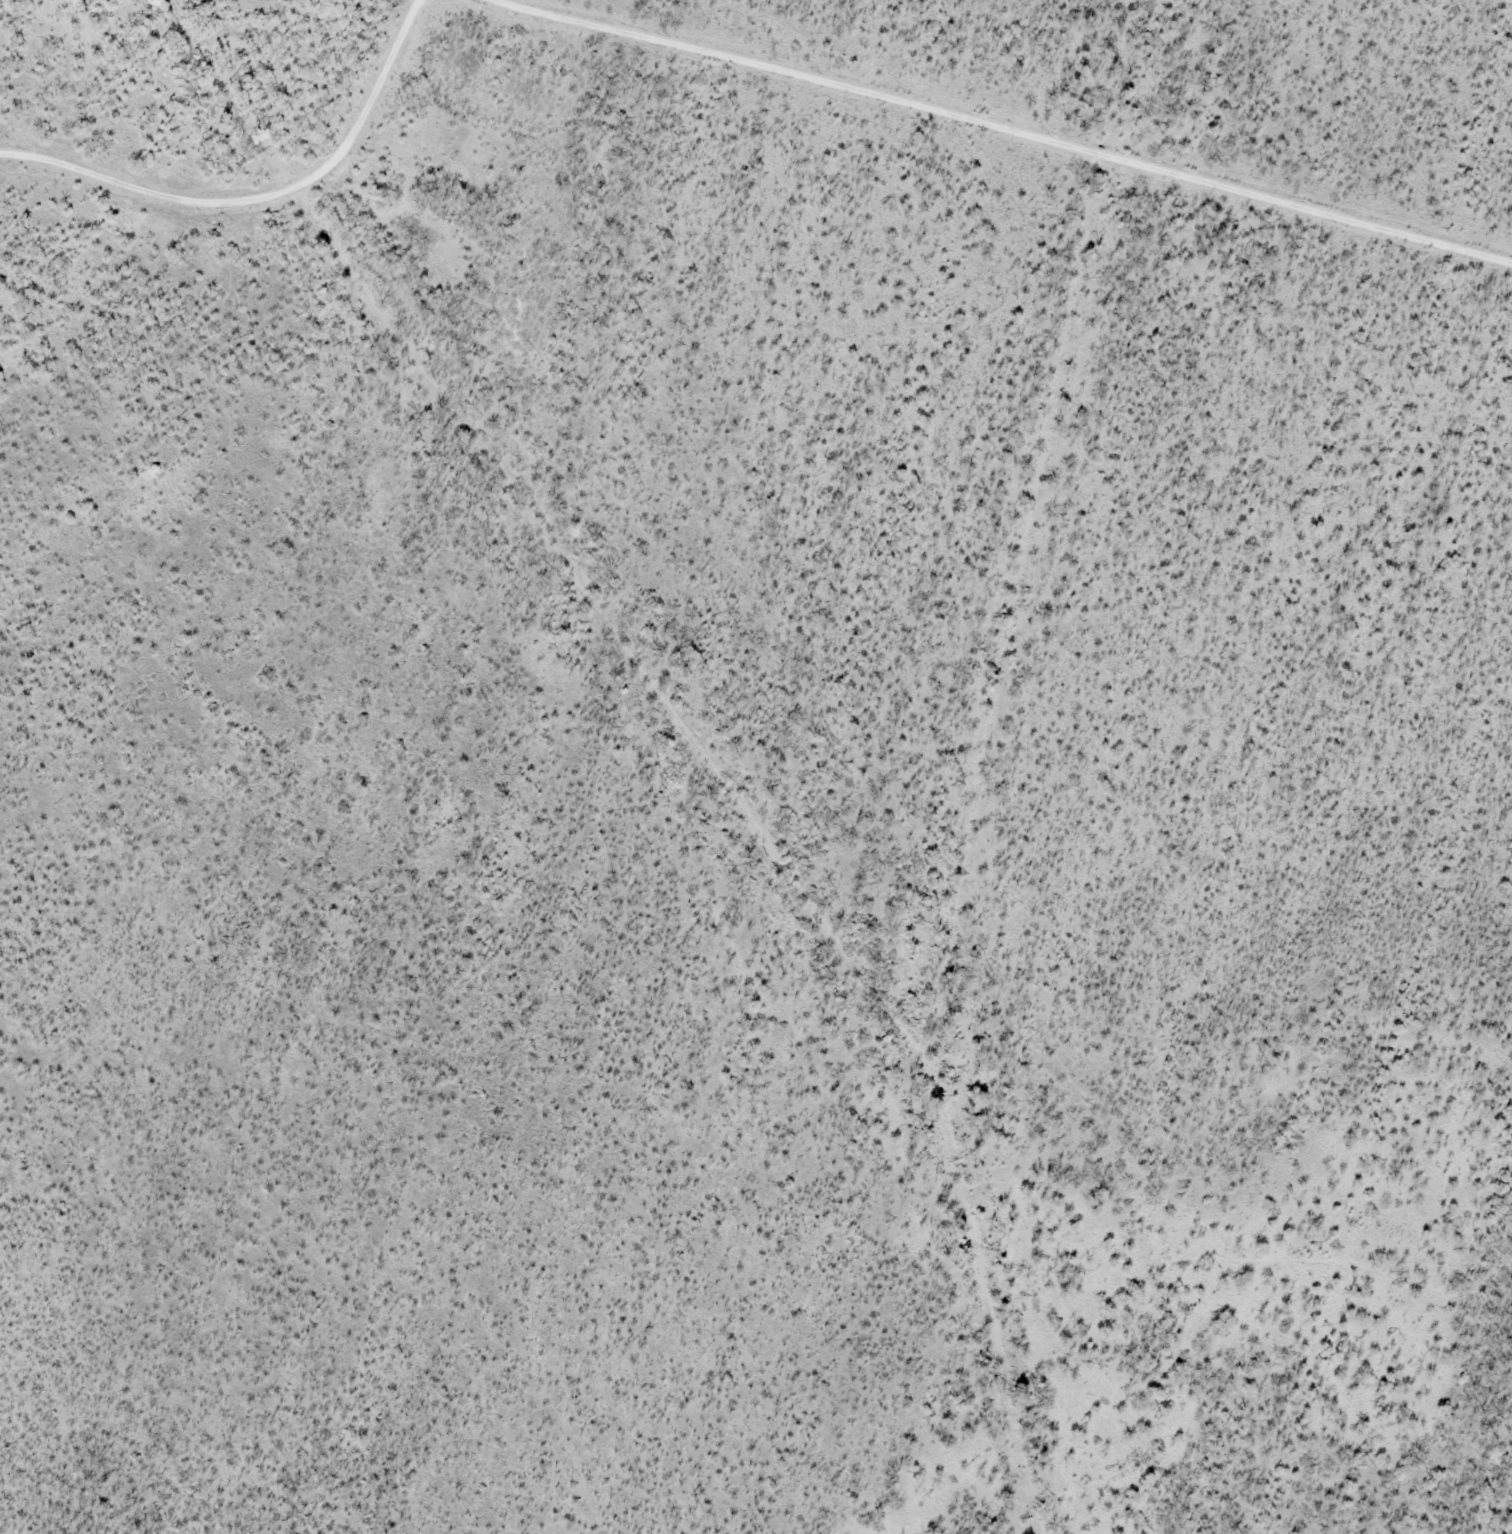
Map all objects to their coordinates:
road: (1023, 131)
road: (254, 190)

